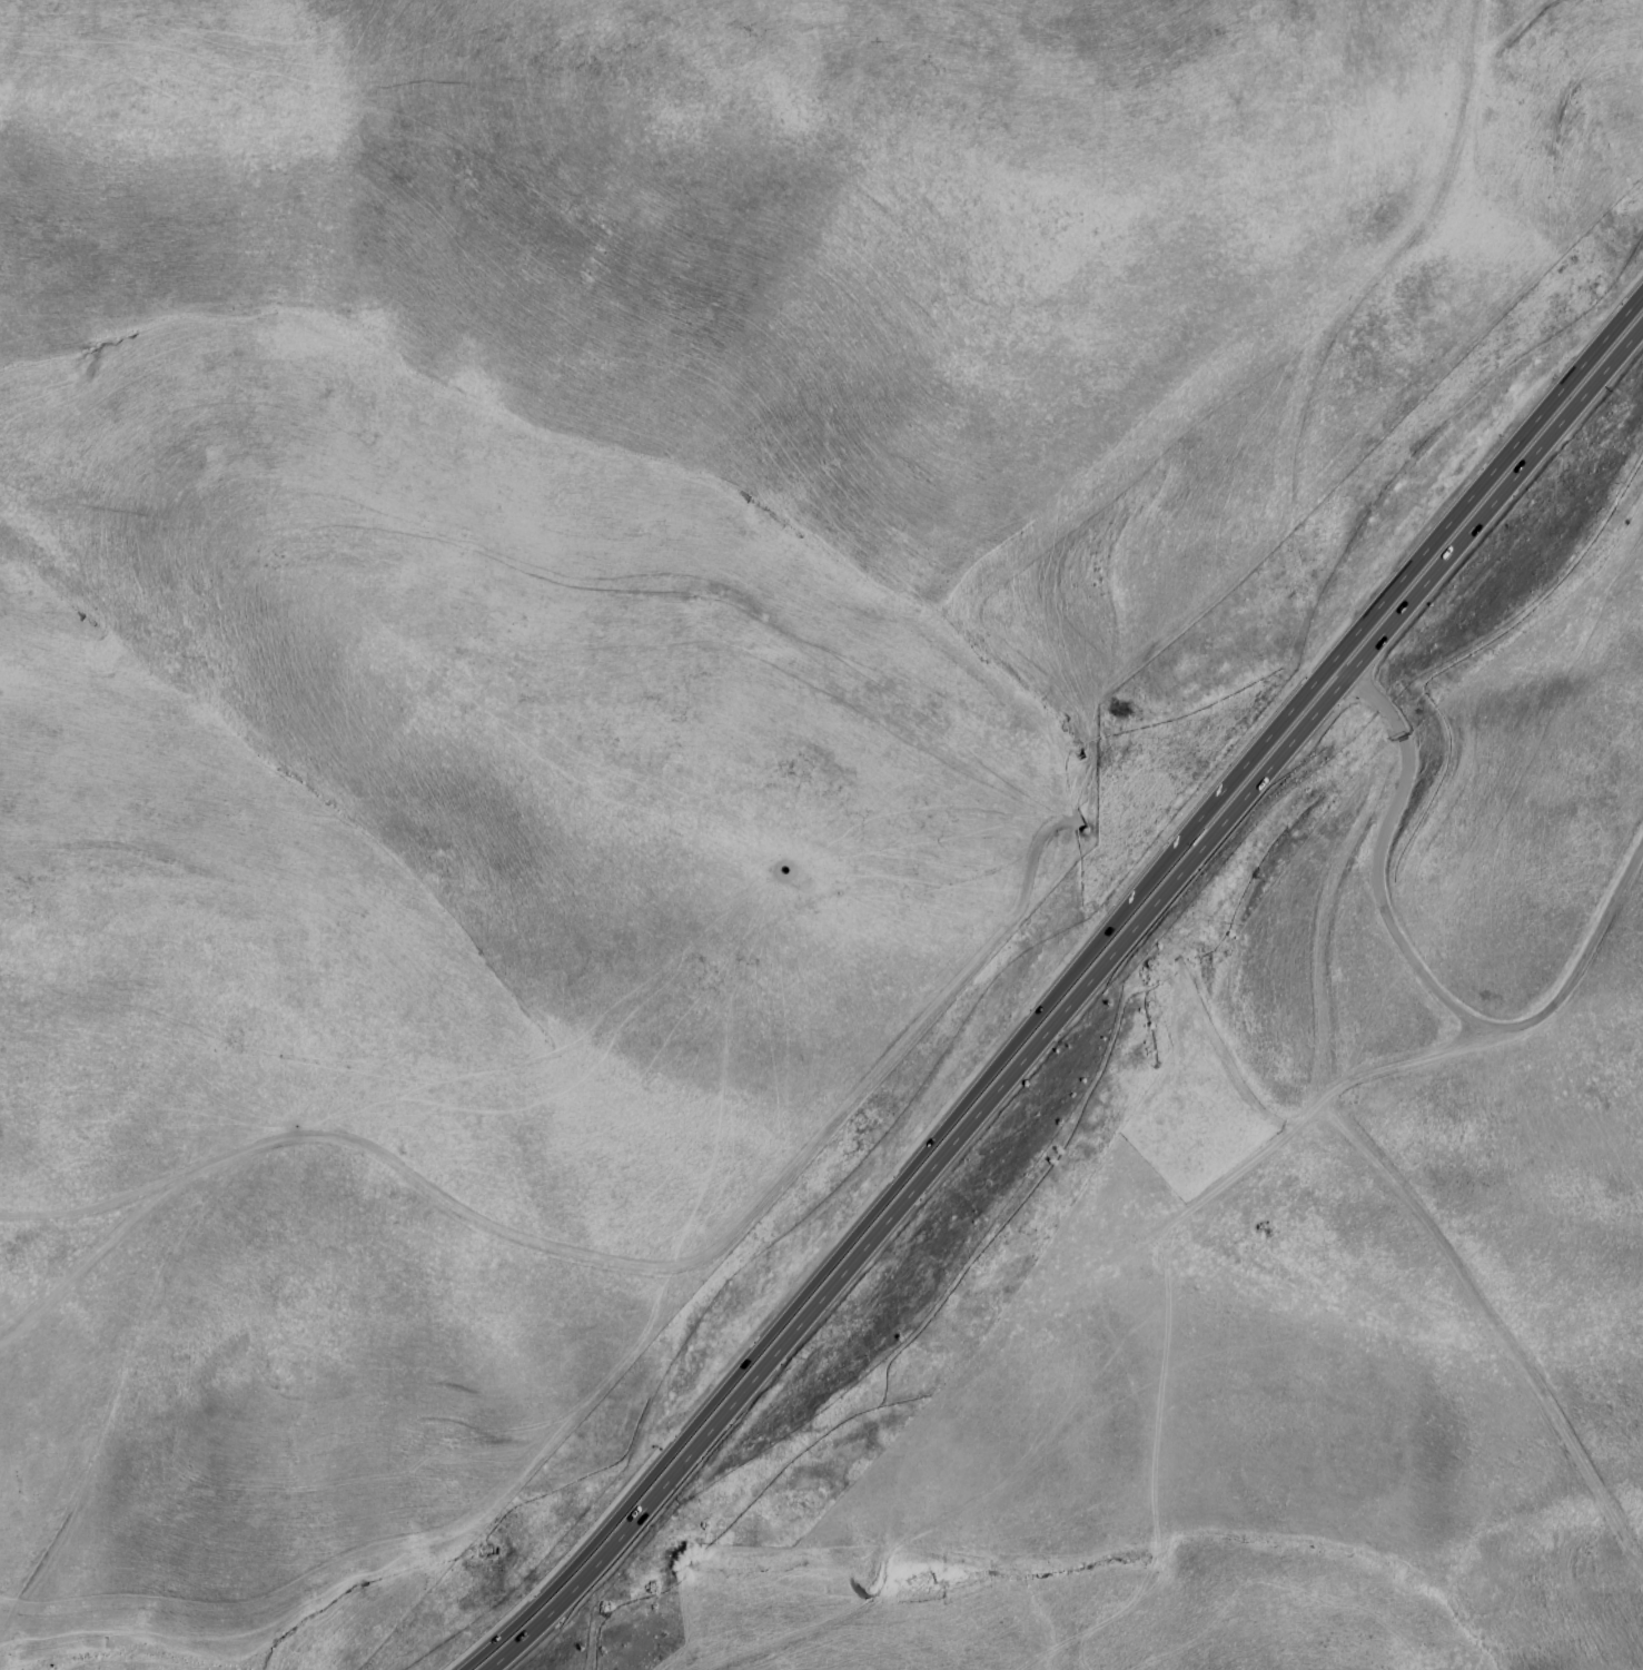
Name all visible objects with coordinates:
road: (1187, 446)
road: (1493, 462)
road: (1246, 758)
road: (1421, 978)
road: (1068, 1000)
road: (1431, 1221)
road: (602, 1259)
road: (806, 1279)

